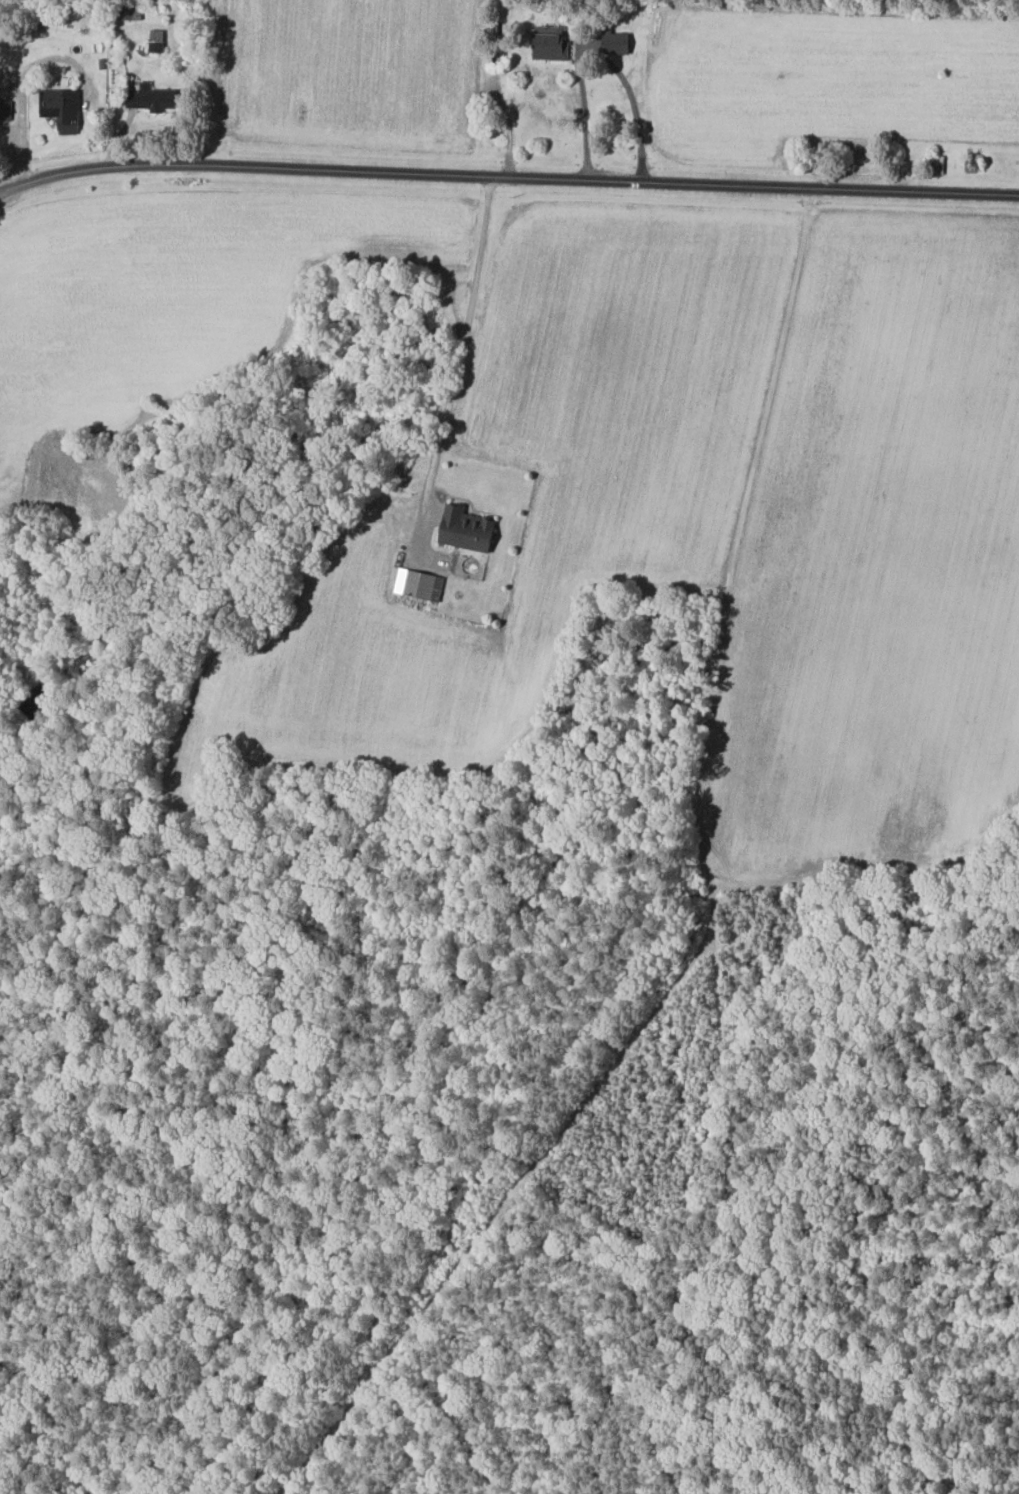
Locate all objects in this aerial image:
building: (158, 41)
building: (612, 42)
building: (547, 45)
road: (593, 52)
road: (28, 83)
building: (157, 98)
building: (66, 109)
road: (507, 181)
road: (458, 365)
building: (463, 530)
road: (723, 566)
building: (416, 584)

